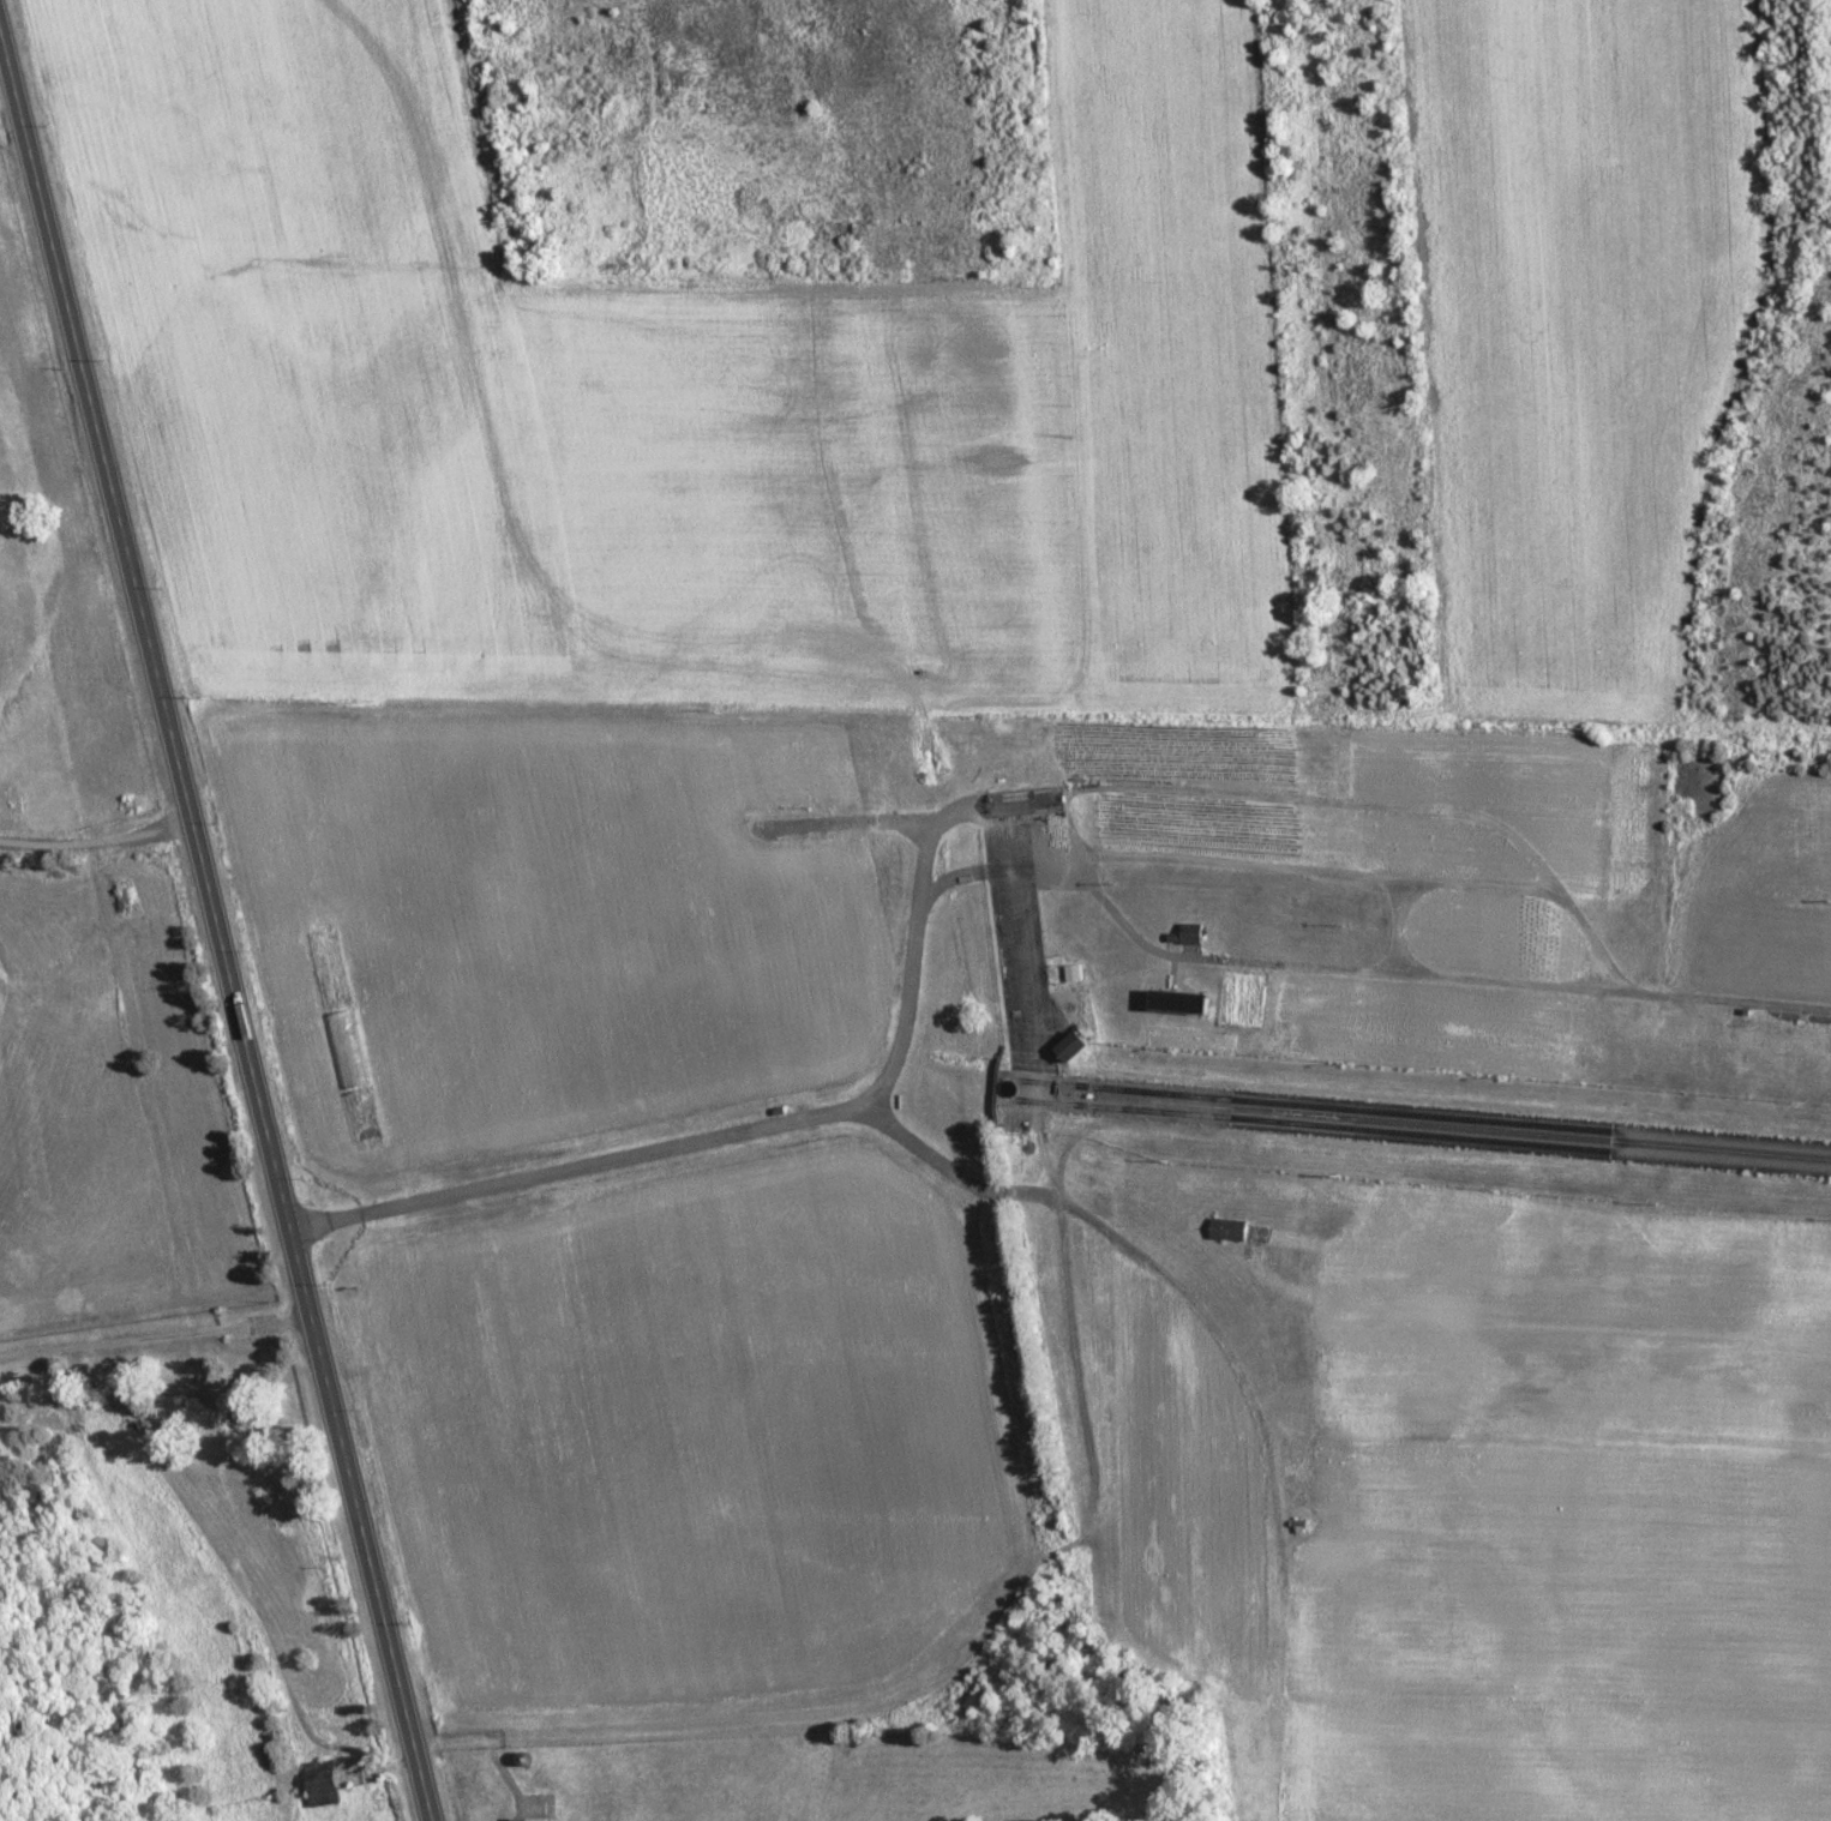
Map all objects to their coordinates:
road: (1220, 794)
road: (996, 866)
road: (1399, 925)
road: (216, 928)
building: (1189, 936)
road: (1021, 945)
road: (1329, 968)
building: (1074, 974)
building: (1184, 1004)
building: (1073, 1051)
raceway: (1417, 1123)
building: (1232, 1230)
building: (256, 1527)
track: (1430, 1642)
building: (325, 1783)

